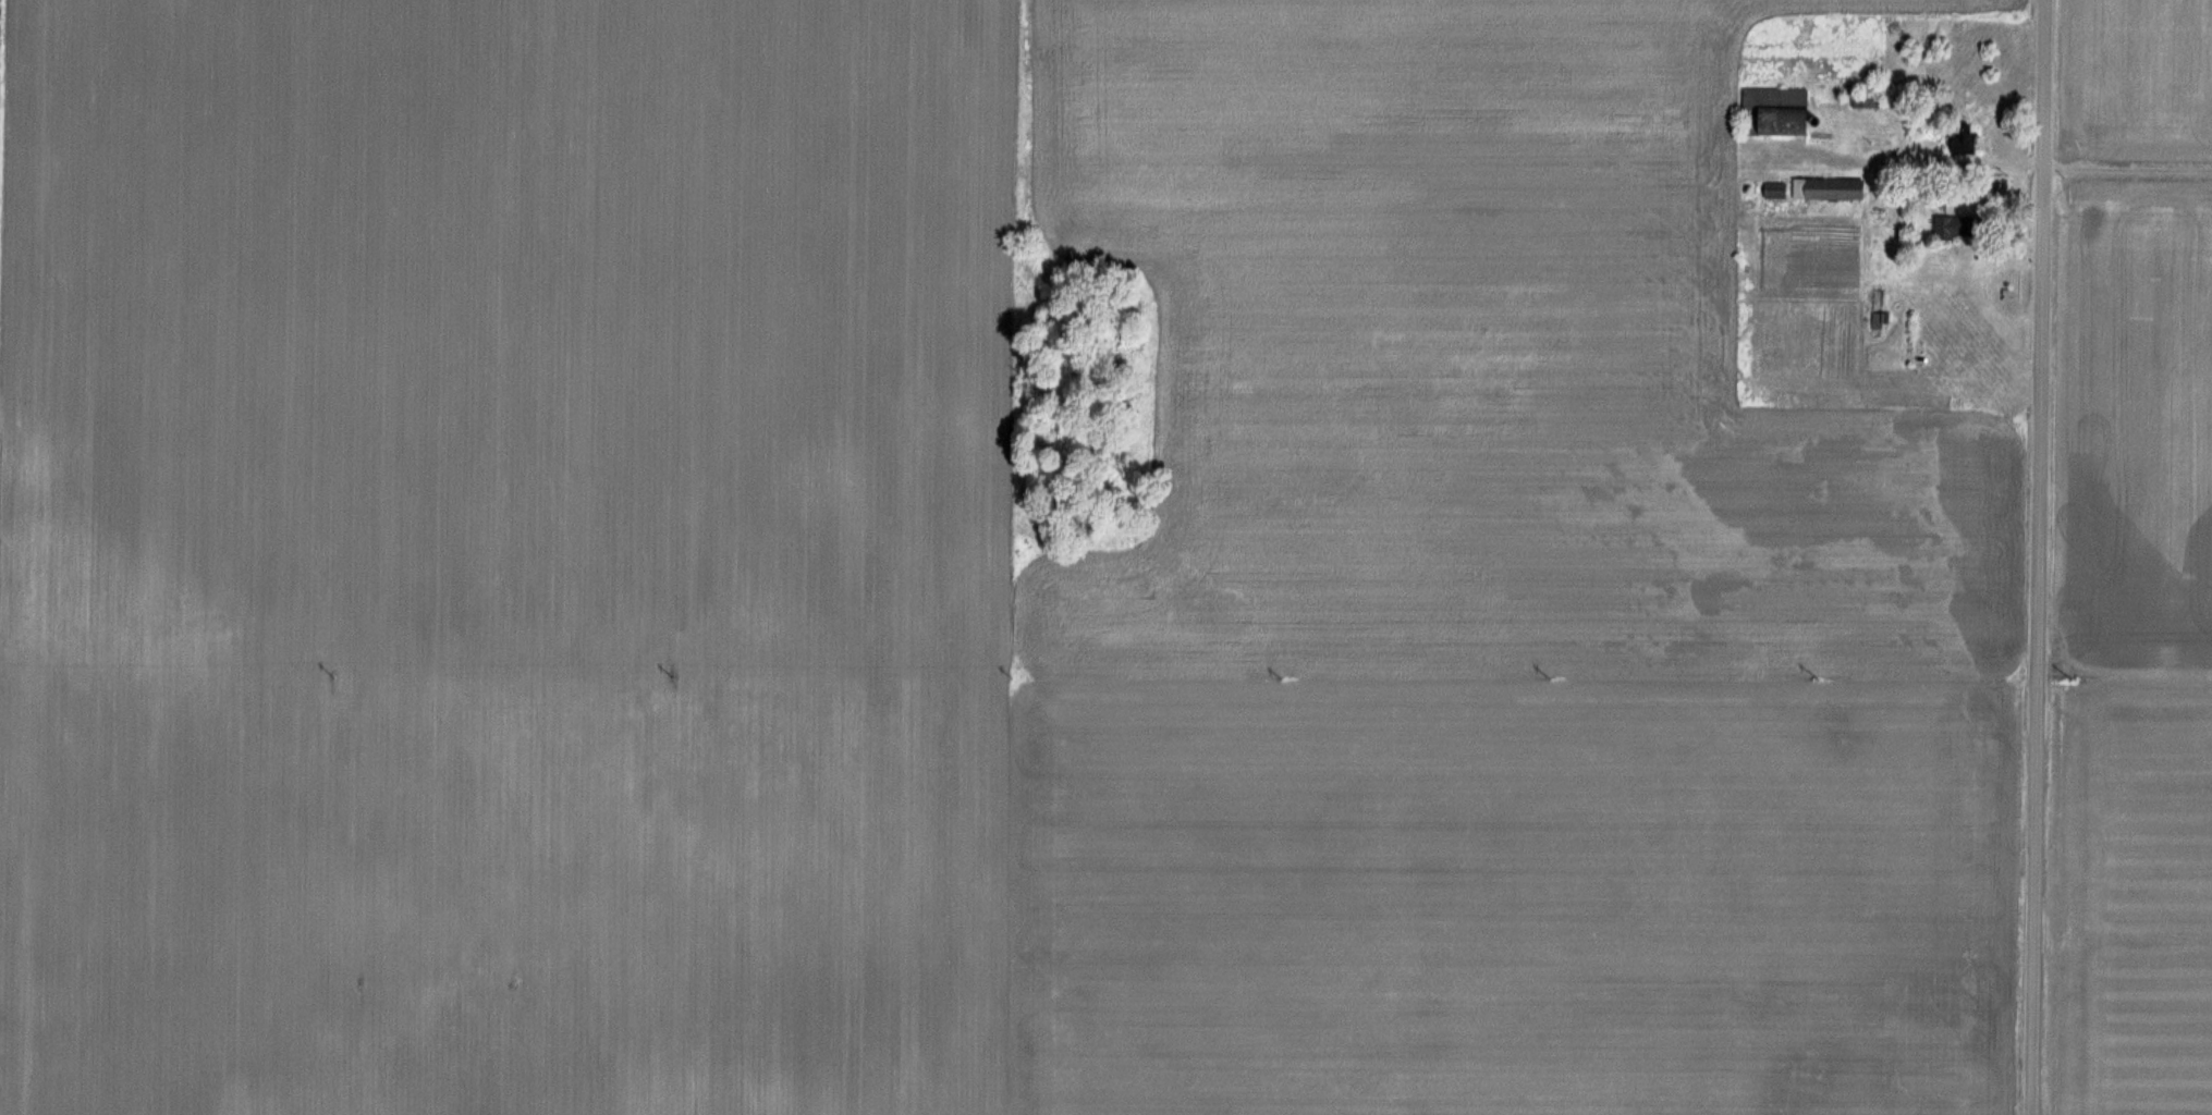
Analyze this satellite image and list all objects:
building: (1866, 100)
building: (1774, 112)
building: (1958, 138)
road: (2129, 170)
building: (1807, 189)
building: (1943, 229)
road: (2042, 556)

